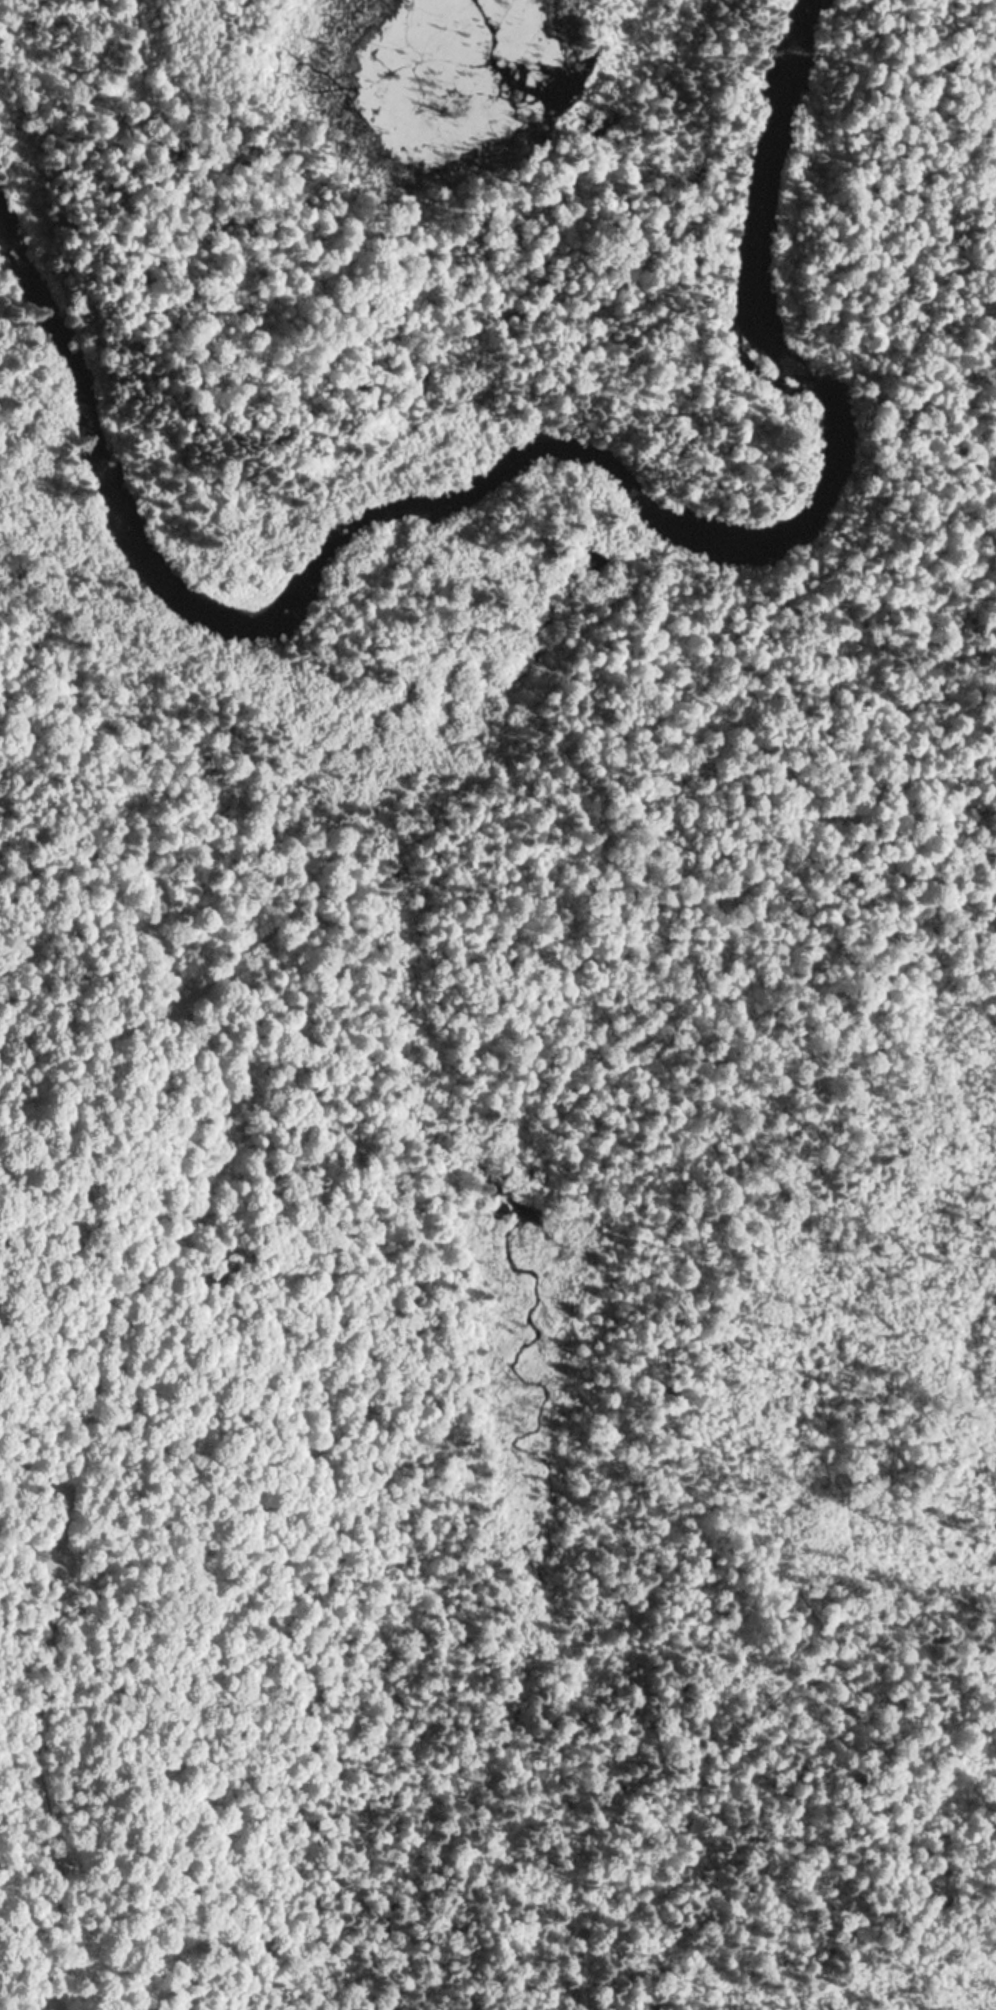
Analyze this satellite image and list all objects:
river: (759, 346)
river: (241, 623)

